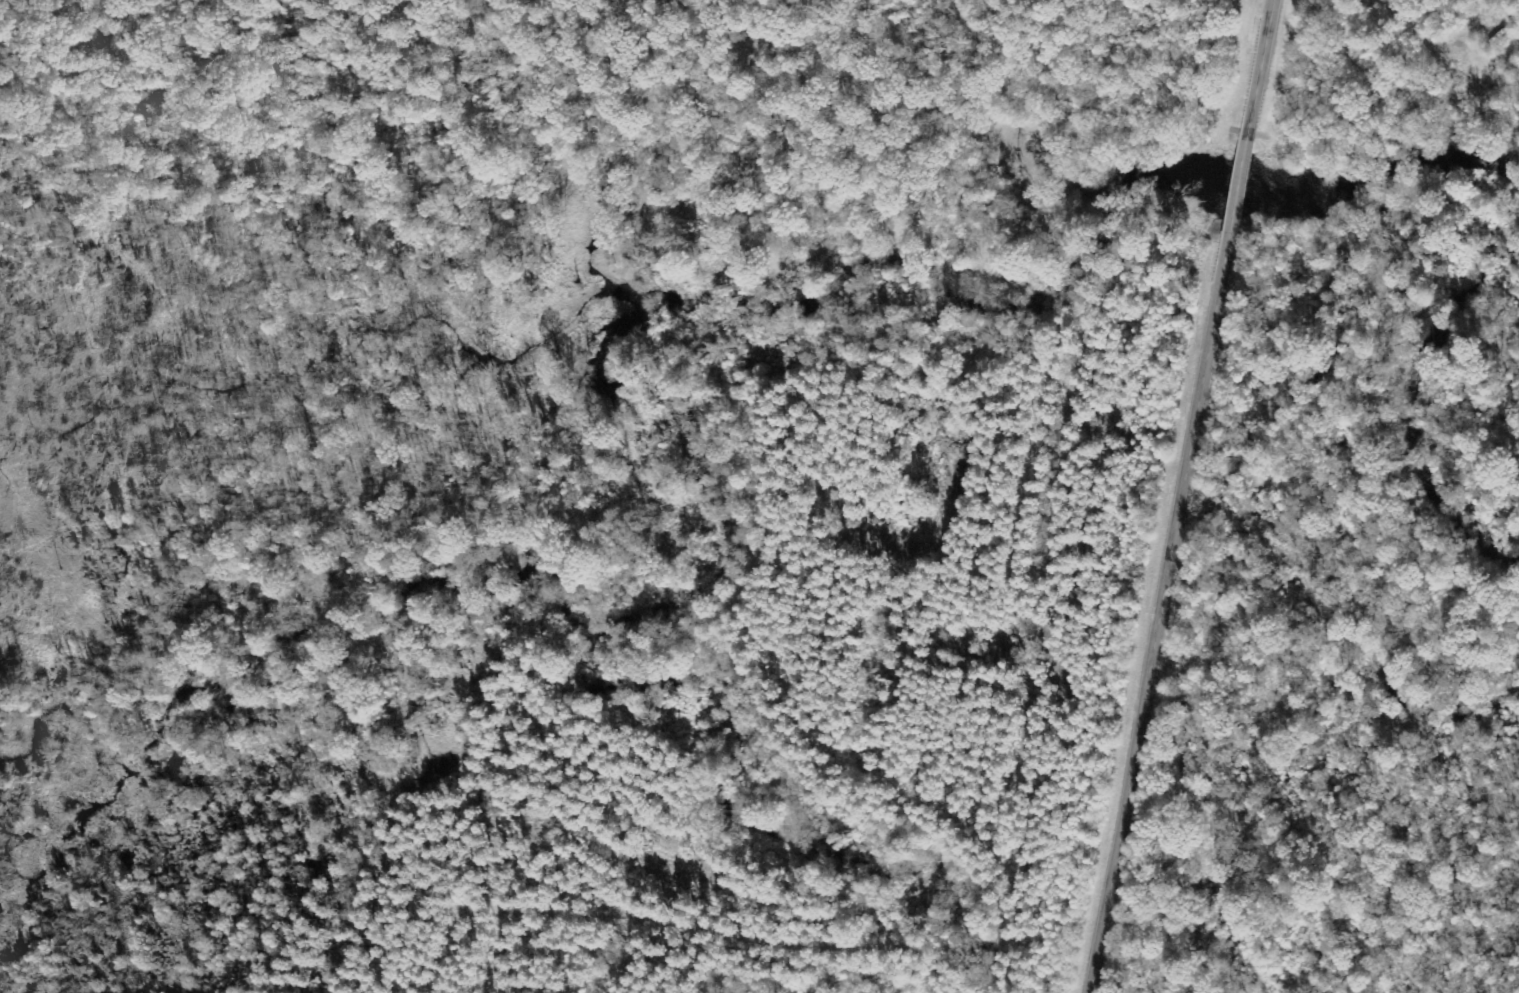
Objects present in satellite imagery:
road: (1274, 72)
road: (1251, 188)
road: (1162, 612)

